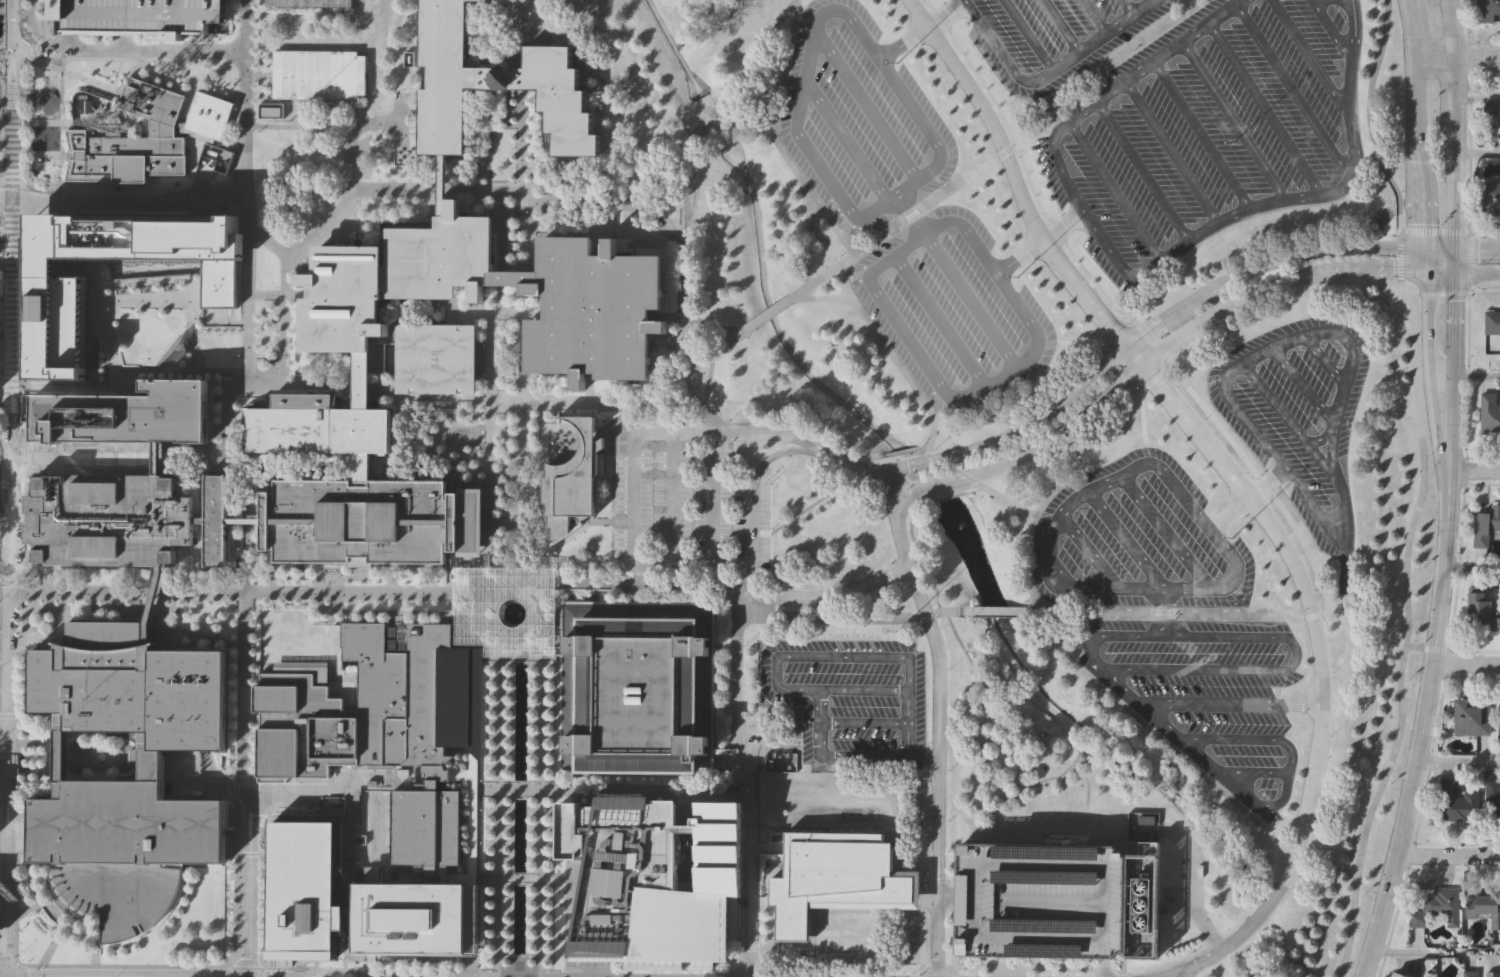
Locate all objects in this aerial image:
road: (604, 2)
building: (306, 3)
parking lot: (592, 6)
road: (1129, 7)
road: (1412, 8)
building: (1489, 11)
building: (139, 15)
parking lot: (139, 15)
road: (1095, 16)
road: (1062, 25)
street lamp: (22, 28)
road: (501, 28)
road: (922, 29)
road: (1332, 30)
road: (1027, 35)
road: (1103, 35)
road: (1417, 35)
road: (812, 46)
road: (129, 49)
road: (1002, 54)
road: (1459, 56)
road: (1311, 59)
road: (1156, 60)
building: (314, 75)
road: (256, 77)
road: (6, 79)
road: (1420, 80)
building: (495, 87)
parking lot: (923, 91)
road: (1293, 91)
road: (244, 95)
road: (715, 105)
road: (867, 105)
road: (1266, 108)
road: (727, 111)
building: (1492, 112)
building: (208, 115)
road: (1470, 115)
road: (1369, 118)
road: (399, 119)
road: (1422, 119)
road: (1234, 120)
road: (1456, 124)
road: (302, 125)
road: (360, 126)
road: (1202, 135)
road: (775, 138)
road: (847, 141)
building: (133, 142)
road: (1172, 152)
road: (1001, 153)
road: (1478, 153)
road: (1142, 171)
parking lot: (362, 172)
road: (690, 173)
road: (348, 175)
building: (442, 184)
parking lot: (1132, 185)
road: (1339, 189)
road: (1114, 190)
road: (1425, 190)
road: (501, 193)
road: (121, 194)
road: (347, 198)
street lamp: (366, 199)
building: (1490, 199)
street lamp: (395, 200)
street lamp: (424, 200)
road: (516, 209)
road: (1086, 215)
street lamp: (423, 218)
street lamp: (358, 219)
road: (1434, 232)
road: (1484, 232)
road: (266, 242)
road: (812, 246)
road: (1441, 248)
road: (1476, 249)
road: (533, 250)
road: (1399, 257)
road: (1429, 260)
road: (1454, 261)
road: (1468, 262)
building: (170, 268)
road: (1464, 274)
building: (391, 276)
building: (513, 276)
building: (55, 283)
road: (246, 286)
road: (1408, 293)
road: (1441, 293)
road: (278, 295)
road: (818, 296)
road: (142, 298)
road: (972, 301)
road: (90, 309)
building: (594, 310)
road: (766, 315)
road: (191, 316)
road: (224, 316)
road: (940, 320)
road: (1162, 321)
building: (1492, 323)
road: (715, 325)
road: (1113, 326)
road: (193, 333)
road: (105, 334)
road: (1339, 334)
road: (1168, 339)
road: (1079, 341)
road: (1151, 341)
street lamp: (291, 355)
building: (434, 355)
road: (893, 356)
road: (1323, 358)
road: (1453, 358)
road: (1430, 359)
road: (523, 375)
road: (1465, 375)
road: (1157, 376)
road: (1466, 377)
street lamp: (381, 378)
building: (362, 379)
road: (708, 380)
road: (342, 382)
road: (673, 383)
street lamp: (218, 384)
road: (1302, 386)
road: (131, 388)
road: (944, 388)
road: (691, 392)
street lamp: (237, 401)
road: (566, 402)
street lamp: (218, 413)
building: (126, 414)
building: (1490, 415)
road: (1141, 416)
street lamp: (496, 419)
road: (714, 419)
road: (1292, 424)
building: (316, 426)
road: (766, 432)
street lamp: (515, 435)
road: (1319, 438)
street lamp: (496, 446)
street lamp: (215, 447)
street lamp: (474, 451)
road: (781, 451)
road: (489, 452)
road: (902, 455)
road: (238, 456)
road: (937, 456)
road: (1449, 456)
building: (156, 458)
parking lot: (1302, 459)
road: (1331, 460)
street lamp: (455, 462)
road: (1281, 464)
road: (5, 465)
road: (914, 466)
building: (361, 467)
road: (954, 467)
road: (1474, 470)
road: (898, 471)
street lamp: (496, 474)
street lamp: (385, 475)
road: (1235, 475)
street lamp: (474, 476)
road: (969, 476)
road: (1235, 478)
building: (571, 480)
road: (1267, 482)
road: (906, 483)
road: (929, 485)
road: (971, 486)
road: (10, 487)
road: (827, 492)
road: (943, 493)
road: (1213, 498)
road: (631, 499)
road: (671, 500)
road: (712, 500)
street lamp: (495, 501)
street lamp: (256, 504)
parking lot: (689, 508)
building: (108, 519)
building: (200, 519)
building: (215, 520)
building: (244, 520)
road: (612, 520)
building: (370, 521)
road: (506, 522)
building: (1485, 528)
street lamp: (255, 529)
road: (1166, 532)
road: (1029, 534)
road: (244, 537)
road: (1126, 539)
road: (1050, 544)
street lamp: (495, 546)
road: (1089, 551)
street lamp: (29, 561)
road: (690, 568)
road: (1472, 569)
street lamp: (332, 571)
street lamp: (145, 581)
street lamp: (258, 582)
street lamp: (289, 583)
street lamp: (369, 583)
road: (21, 584)
street lamp: (398, 584)
street lamp: (426, 584)
street lamp: (454, 585)
road: (712, 586)
building: (153, 592)
road: (273, 594)
road: (779, 596)
street lamp: (49, 602)
street lamp: (78, 602)
street lamp: (110, 602)
street lamp: (275, 602)
street lamp: (306, 602)
street lamp: (134, 603)
street lamp: (218, 603)
street lamp: (354, 603)
street lamp: (383, 603)
street lamp: (412, 603)
street lamp: (448, 603)
street lamp: (188, 604)
road: (966, 610)
road: (992, 610)
building: (507, 611)
road: (1163, 611)
road: (378, 612)
road: (1084, 612)
road: (473, 613)
road: (1162, 613)
road: (1242, 613)
road: (1324, 613)
building: (1481, 614)
road: (849, 615)
street lamp: (254, 616)
street lamp: (71, 617)
street lamp: (137, 617)
road: (159, 620)
street lamp: (169, 624)
road: (477, 625)
street lamp: (234, 630)
road: (1407, 630)
road: (201, 635)
street lamp: (217, 636)
park: (298, 638)
road: (1289, 639)
street lamp: (254, 646)
road: (1427, 648)
road: (778, 657)
road: (521, 659)
street lamp: (233, 660)
road: (487, 661)
street lamp: (506, 664)
street lamp: (533, 664)
road: (1465, 666)
building: (305, 672)
street lamp: (253, 675)
street lamp: (533, 677)
street lamp: (507, 678)
building: (637, 685)
street lamp: (233, 689)
building: (130, 691)
road: (242, 691)
street lamp: (507, 692)
street lamp: (533, 692)
parking lot: (1208, 694)
parking lot: (850, 698)
road: (1230, 703)
road: (4, 707)
street lamp: (506, 707)
street lamp: (533, 707)
road: (251, 717)
building: (1470, 718)
street lamp: (233, 719)
road: (1157, 719)
building: (1498, 719)
street lamp: (507, 721)
road: (864, 722)
road: (908, 724)
road: (938, 724)
road: (1007, 725)
road: (1422, 726)
street lamp: (252, 729)
building: (303, 729)
road: (954, 729)
building: (418, 730)
park: (1012, 730)
street lamp: (506, 736)
street lamp: (532, 736)
road: (1156, 736)
road: (1250, 739)
street lamp: (233, 748)
street lamp: (506, 751)
street lamp: (532, 751)
road: (843, 758)
building: (780, 762)
street lamp: (253, 763)
road: (1458, 763)
street lamp: (507, 766)
street lamp: (532, 766)
street lamp: (233, 778)
street lamp: (481, 781)
street lamp: (507, 781)
street lamp: (533, 781)
road: (1087, 782)
road: (4, 786)
road: (613, 789)
road: (280, 790)
road: (234, 791)
road: (1286, 791)
road: (924, 792)
building: (1454, 801)
building: (1493, 801)
street lamp: (481, 810)
street lamp: (507, 812)
street lamp: (532, 812)
road: (475, 819)
building: (472, 827)
street lamp: (507, 828)
street lamp: (533, 828)
road: (344, 842)
street lamp: (261, 843)
street lamp: (481, 843)
street lamp: (533, 843)
street lamp: (507, 844)
building: (123, 849)
road: (1299, 849)
road: (1334, 850)
road: (1448, 857)
street lamp: (506, 859)
street lamp: (532, 859)
road: (751, 866)
street lamp: (261, 872)
street lamp: (480, 872)
street lamp: (506, 873)
street lamp: (532, 873)
road: (240, 878)
road: (522, 878)
building: (836, 879)
road: (936, 880)
building: (654, 882)
road: (252, 883)
building: (1141, 883)
road: (1195, 884)
building: (302, 887)
road: (46, 890)
street lamp: (506, 898)
street lamp: (532, 898)
road: (34, 899)
road: (948, 899)
building: (1041, 899)
parking lot: (1041, 899)
street lamp: (262, 901)
building: (1442, 905)
road: (14, 906)
road: (56, 906)
building: (1485, 907)
street lamp: (532, 912)
street lamp: (506, 913)
road: (50, 915)
building: (415, 918)
street lamp: (506, 927)
street lamp: (532, 927)
road: (569, 927)
street lamp: (261, 930)
road: (55, 936)
street lamp: (506, 942)
street lamp: (532, 942)
road: (51, 945)
road: (46, 951)
road: (1435, 953)
road: (4, 956)
road: (520, 956)
road: (95, 961)
road: (120, 966)
road: (1102, 966)
street lamp: (331, 968)
street lamp: (357, 968)
street lamp: (506, 969)
street lamp: (532, 969)
road: (1147, 971)
road: (938, 972)
building: (1472, 973)
road: (923, 974)
road: (954, 974)
building: (1494, 974)
building: (1401, 975)
road: (9, 976)
road: (157, 976)
road: (297, 976)

